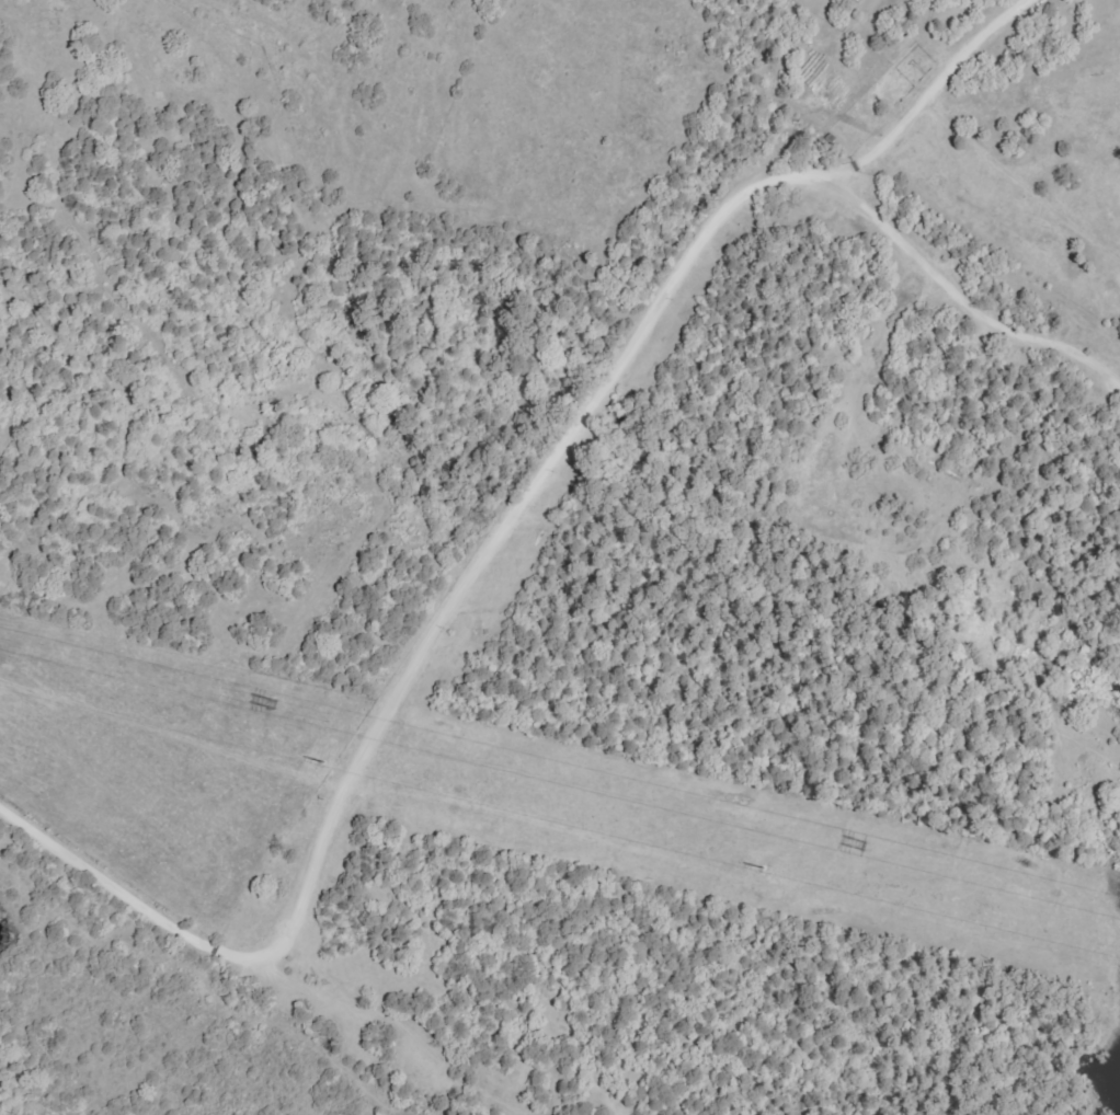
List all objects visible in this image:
road: (957, 283)
road: (196, 473)
road: (489, 540)
power tower: (273, 706)
power tower: (320, 769)
power tower: (866, 849)
power tower: (764, 876)
road: (409, 1023)

